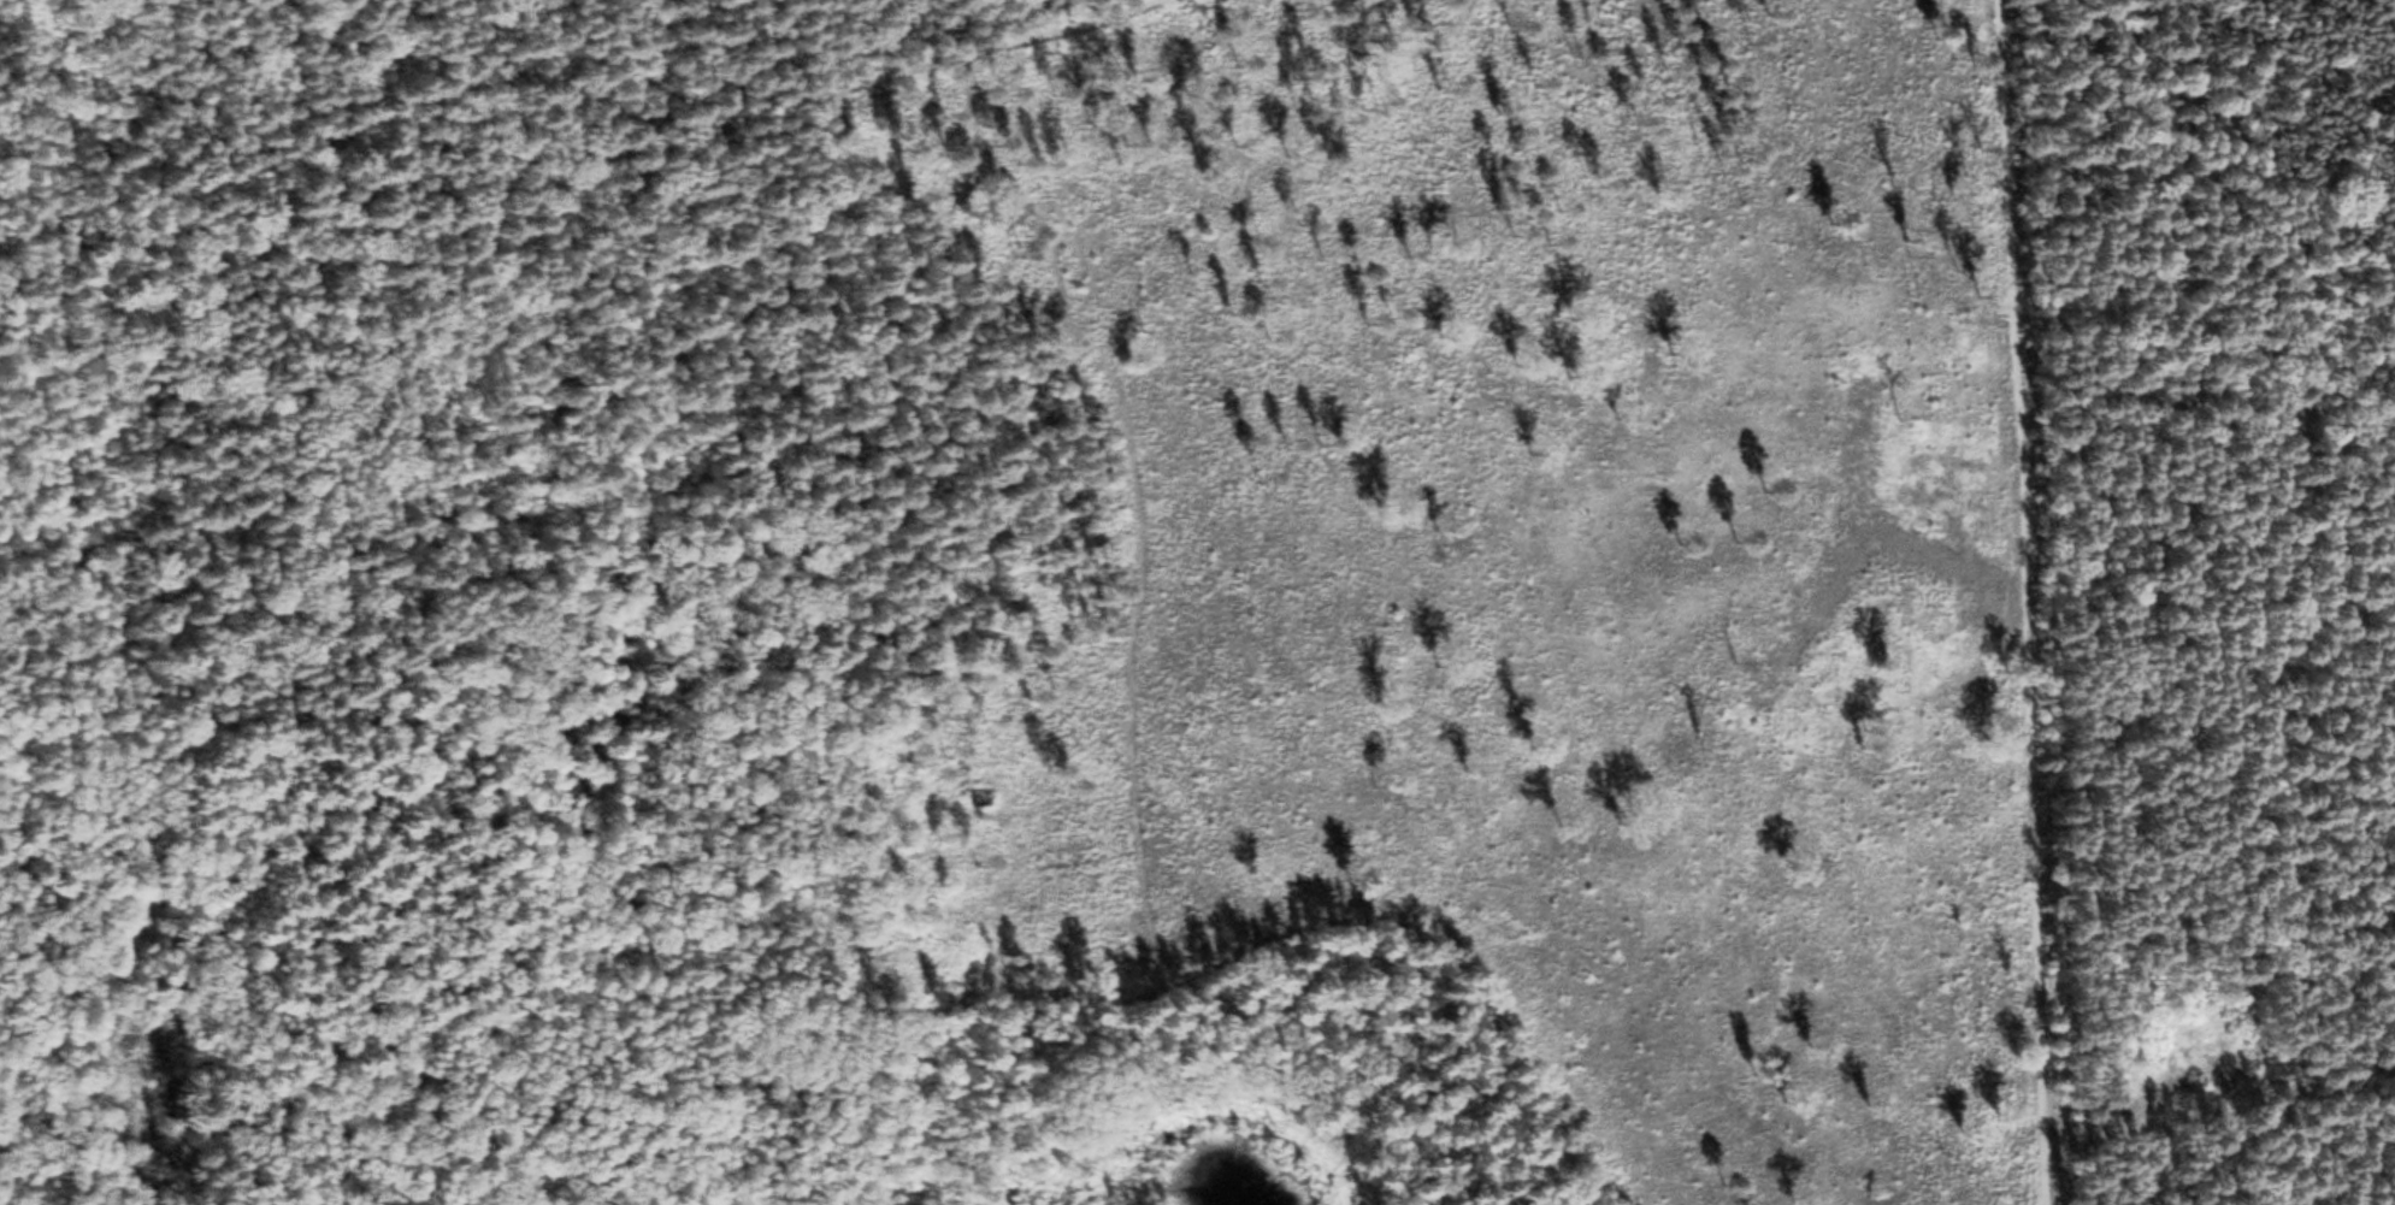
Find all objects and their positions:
road: (885, 61)
road: (2035, 602)
road: (850, 940)

